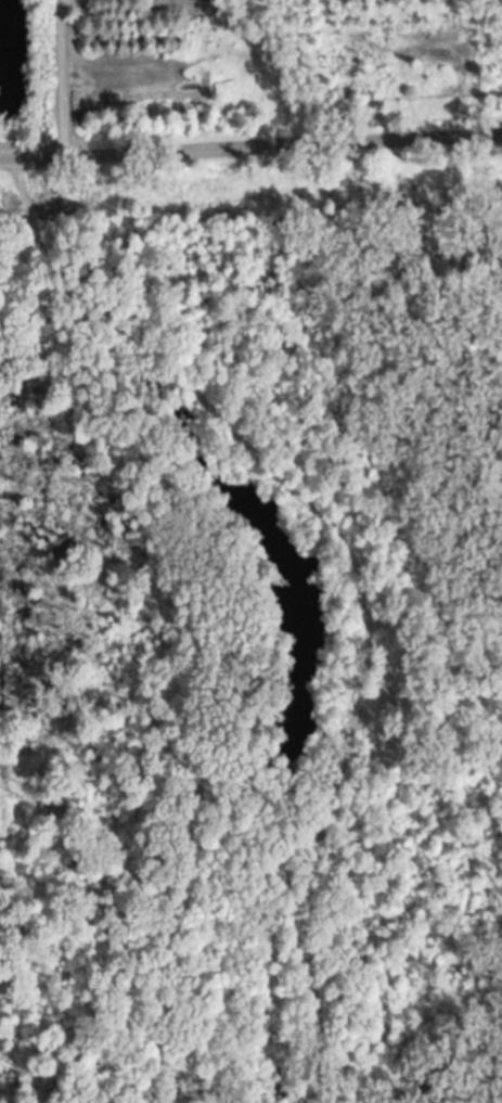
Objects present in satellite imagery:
road: (250, 144)
road: (349, 573)

